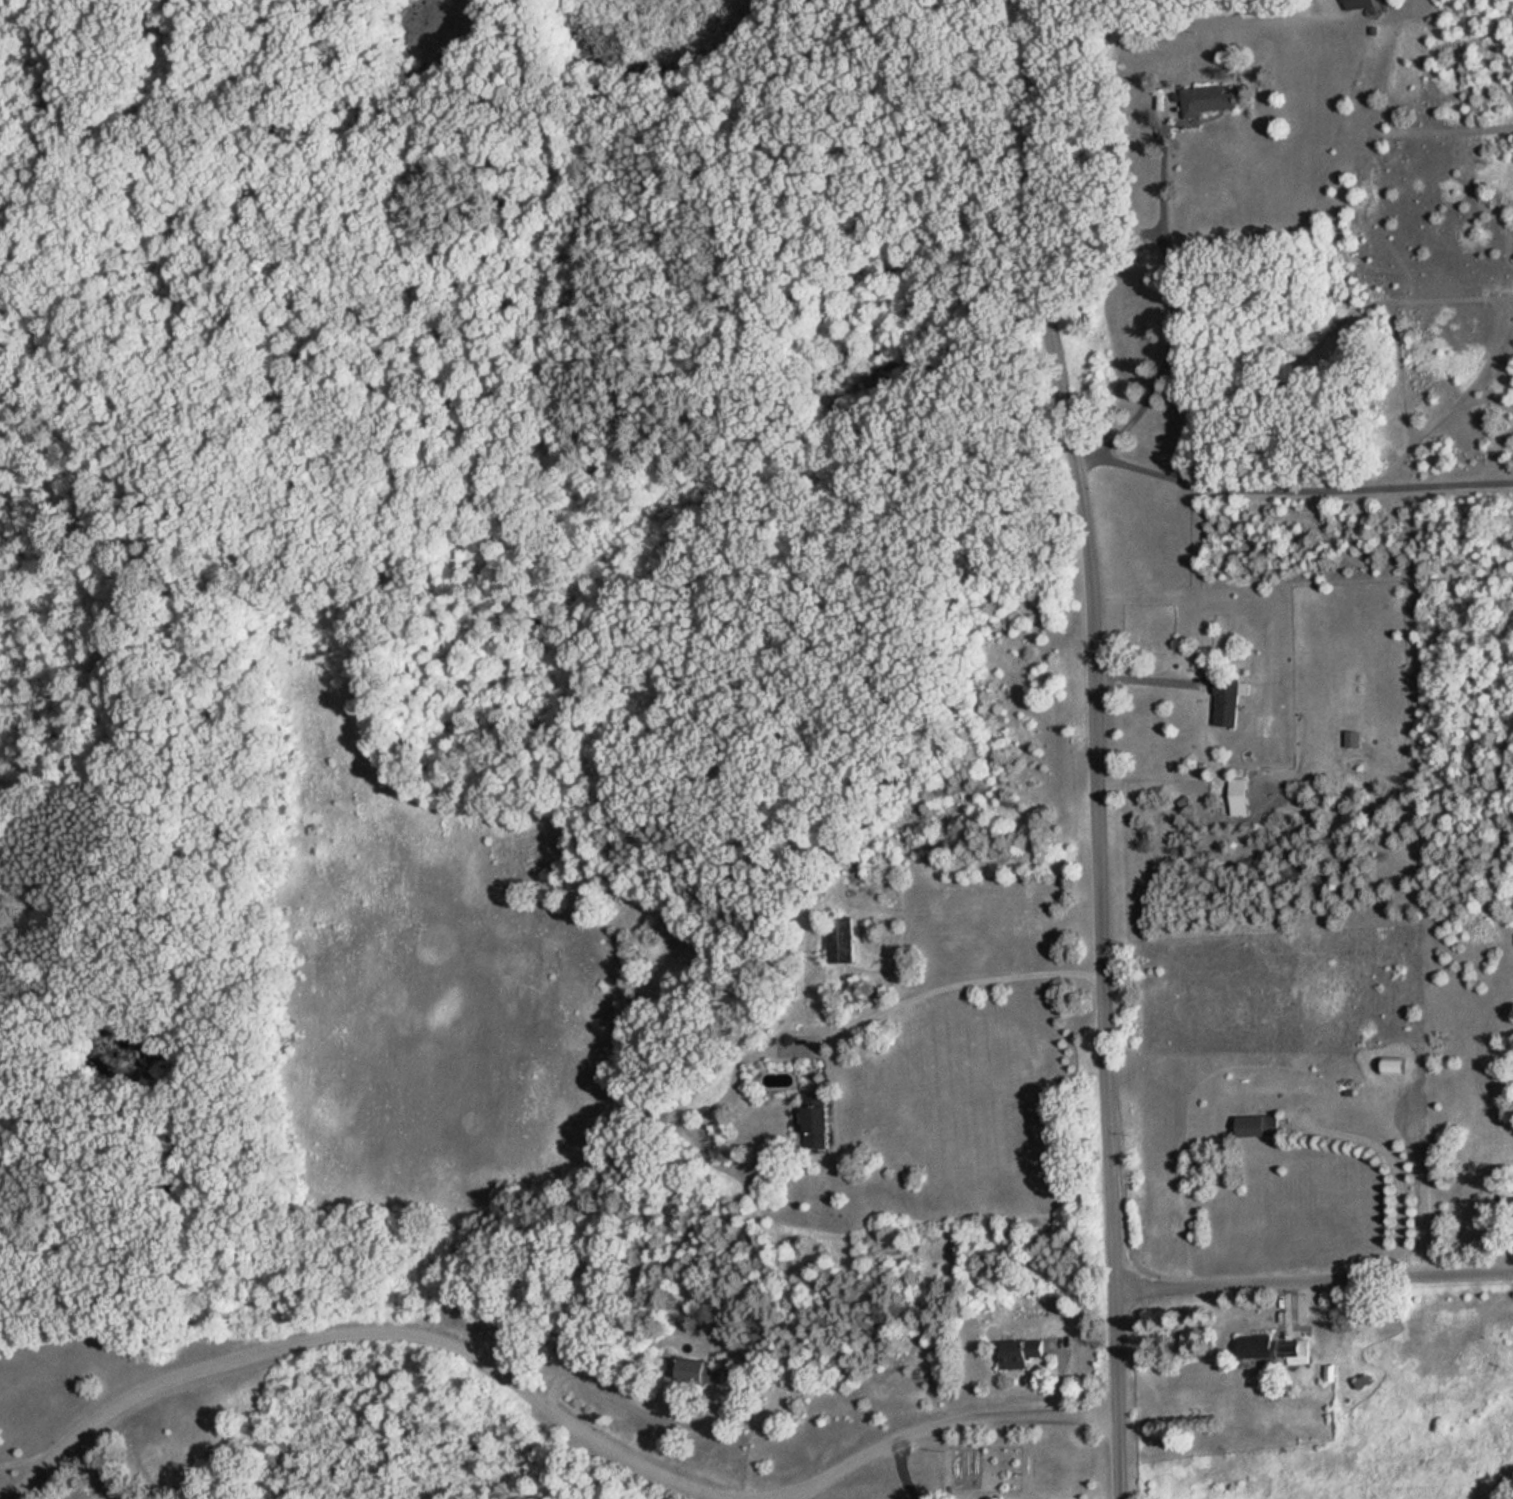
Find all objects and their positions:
building: (1359, 3)
building: (1208, 99)
road: (1171, 316)
park: (441, 410)
road: (1291, 490)
road: (1147, 694)
building: (1226, 700)
building: (1351, 737)
road: (1095, 746)
building: (1238, 796)
building: (844, 938)
road: (950, 999)
building: (819, 1118)
building: (1258, 1124)
road: (1385, 1175)
road: (1311, 1275)
building: (1271, 1346)
building: (1014, 1352)
building: (700, 1372)
road: (623, 1400)
road: (547, 1409)
road: (33, 1452)
road: (99, 1468)
road: (784, 1498)

